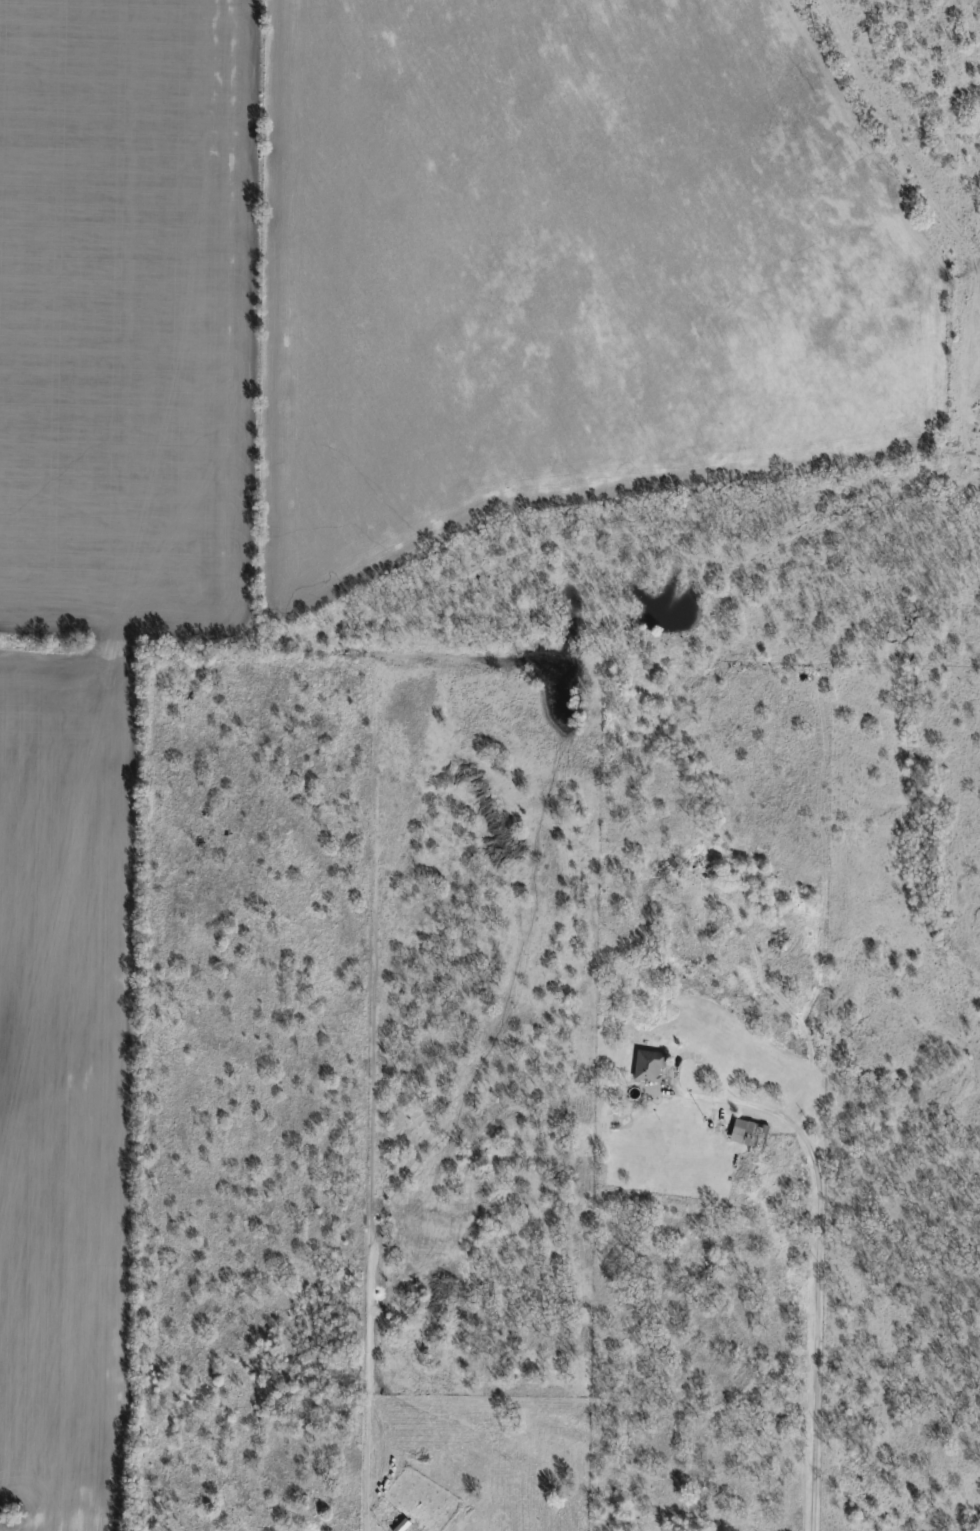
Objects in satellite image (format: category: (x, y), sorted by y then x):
road: (676, 1060)
building: (648, 1065)
building: (744, 1130)
road: (817, 1284)

